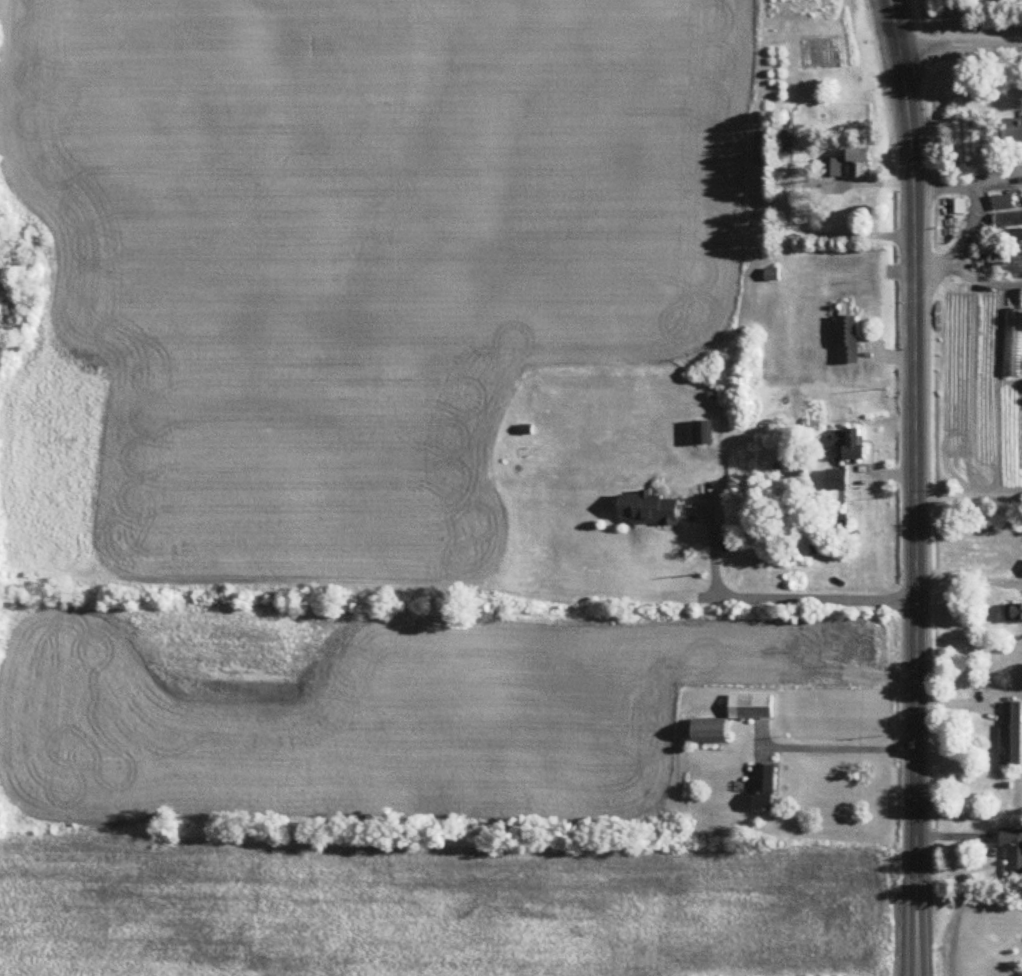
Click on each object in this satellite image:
road: (953, 24)
road: (960, 48)
building: (1013, 129)
building: (788, 141)
building: (860, 163)
building: (833, 167)
road: (995, 177)
building: (1003, 203)
road: (973, 217)
building: (1008, 219)
building: (1015, 235)
road: (984, 284)
building: (848, 340)
building: (703, 432)
building: (845, 443)
road: (915, 487)
building: (648, 509)
road: (968, 578)
road: (781, 596)
building: (1017, 613)
building: (751, 707)
building: (711, 732)
building: (1012, 733)
road: (844, 748)
building: (765, 788)
building: (1013, 850)

